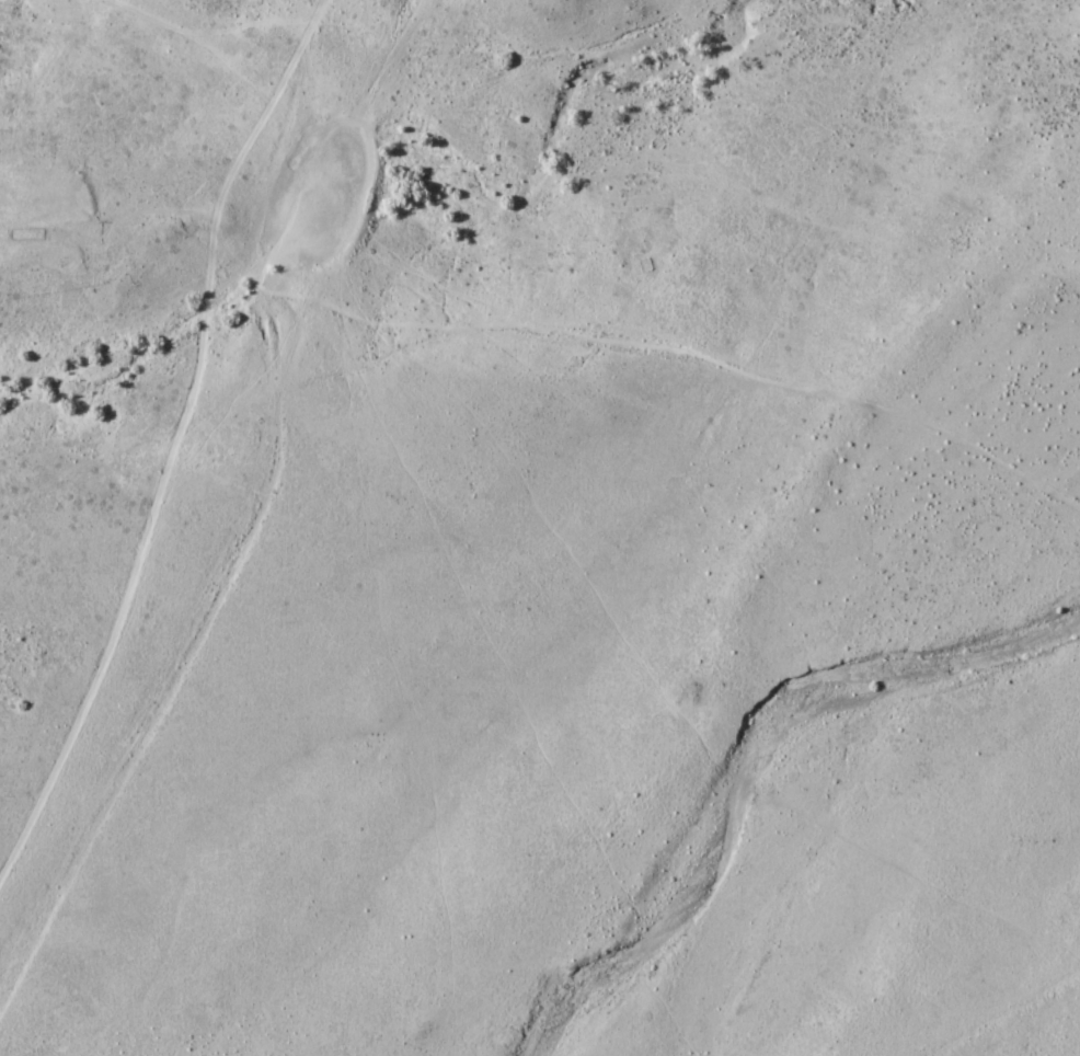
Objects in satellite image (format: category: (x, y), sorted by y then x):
road: (635, 370)
road: (176, 437)
river: (777, 782)
road: (1011, 1005)

